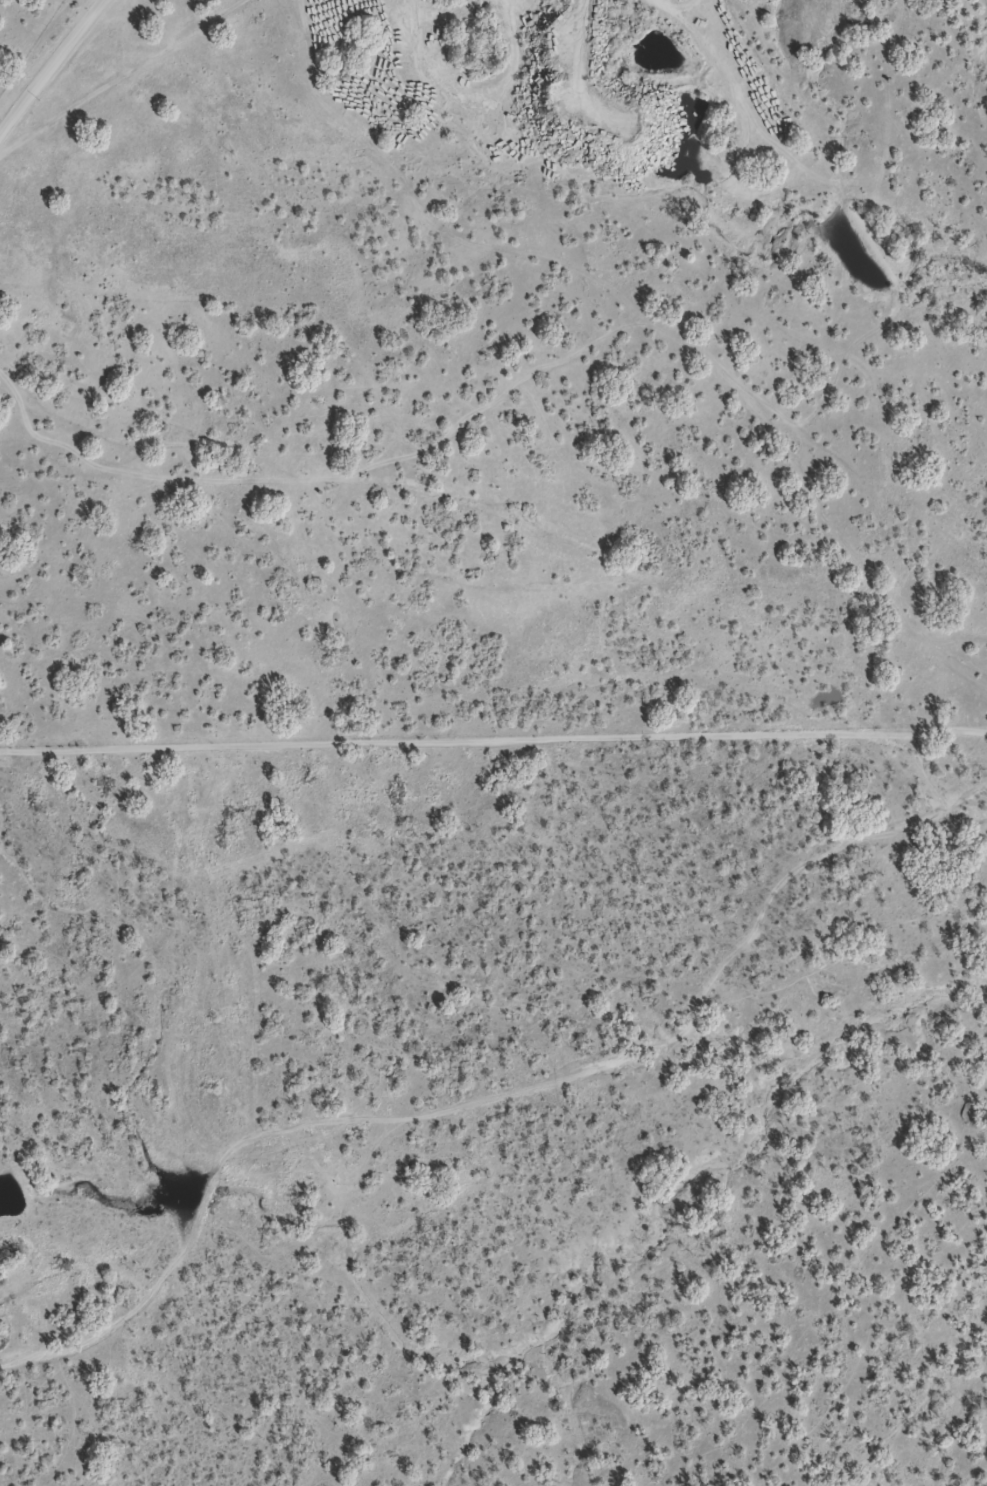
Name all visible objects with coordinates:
road: (52, 66)
quarry: (578, 98)

